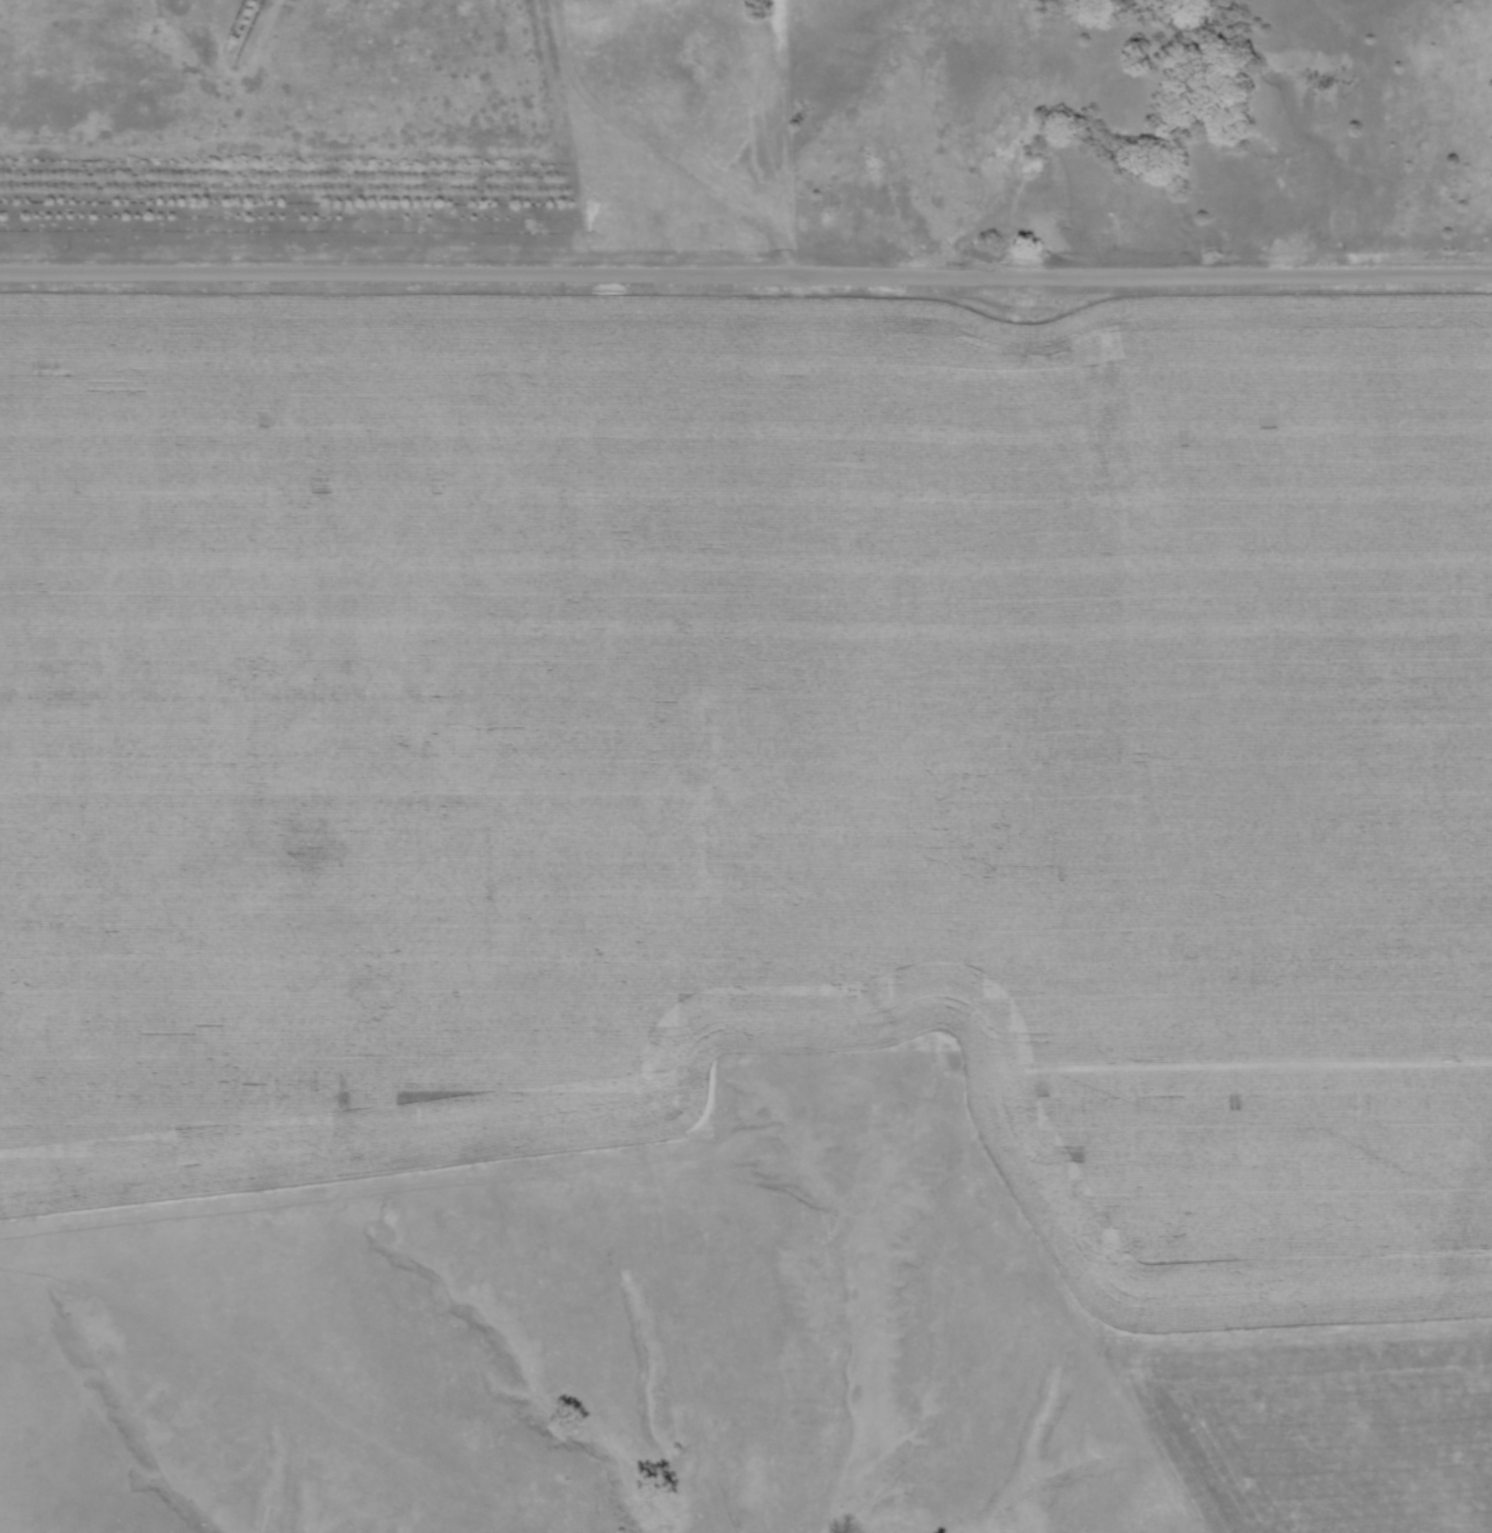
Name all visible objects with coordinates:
road: (746, 283)

